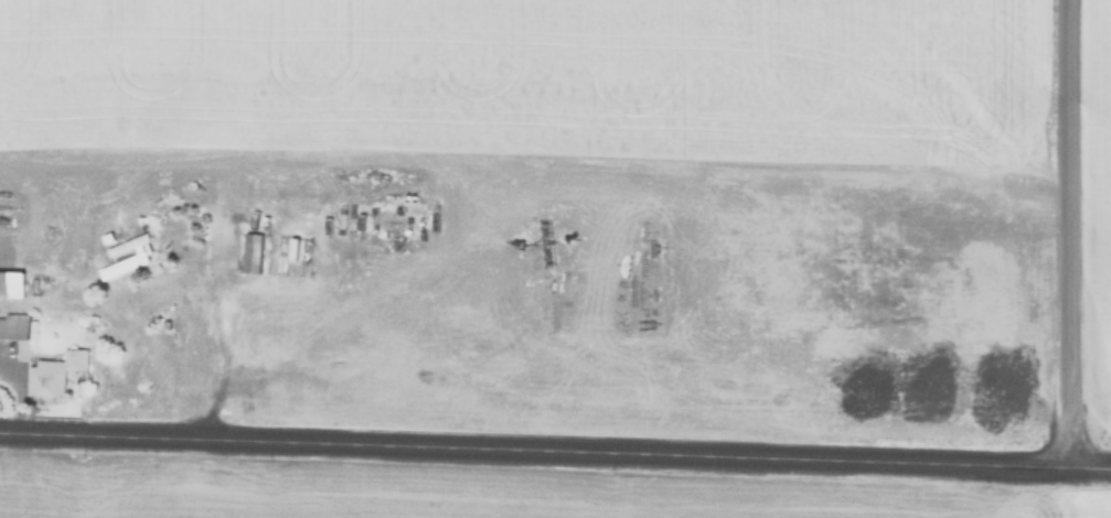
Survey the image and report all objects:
road: (1059, 227)
building: (296, 249)
building: (255, 252)
building: (13, 284)
building: (15, 326)
building: (57, 374)
road: (555, 438)

